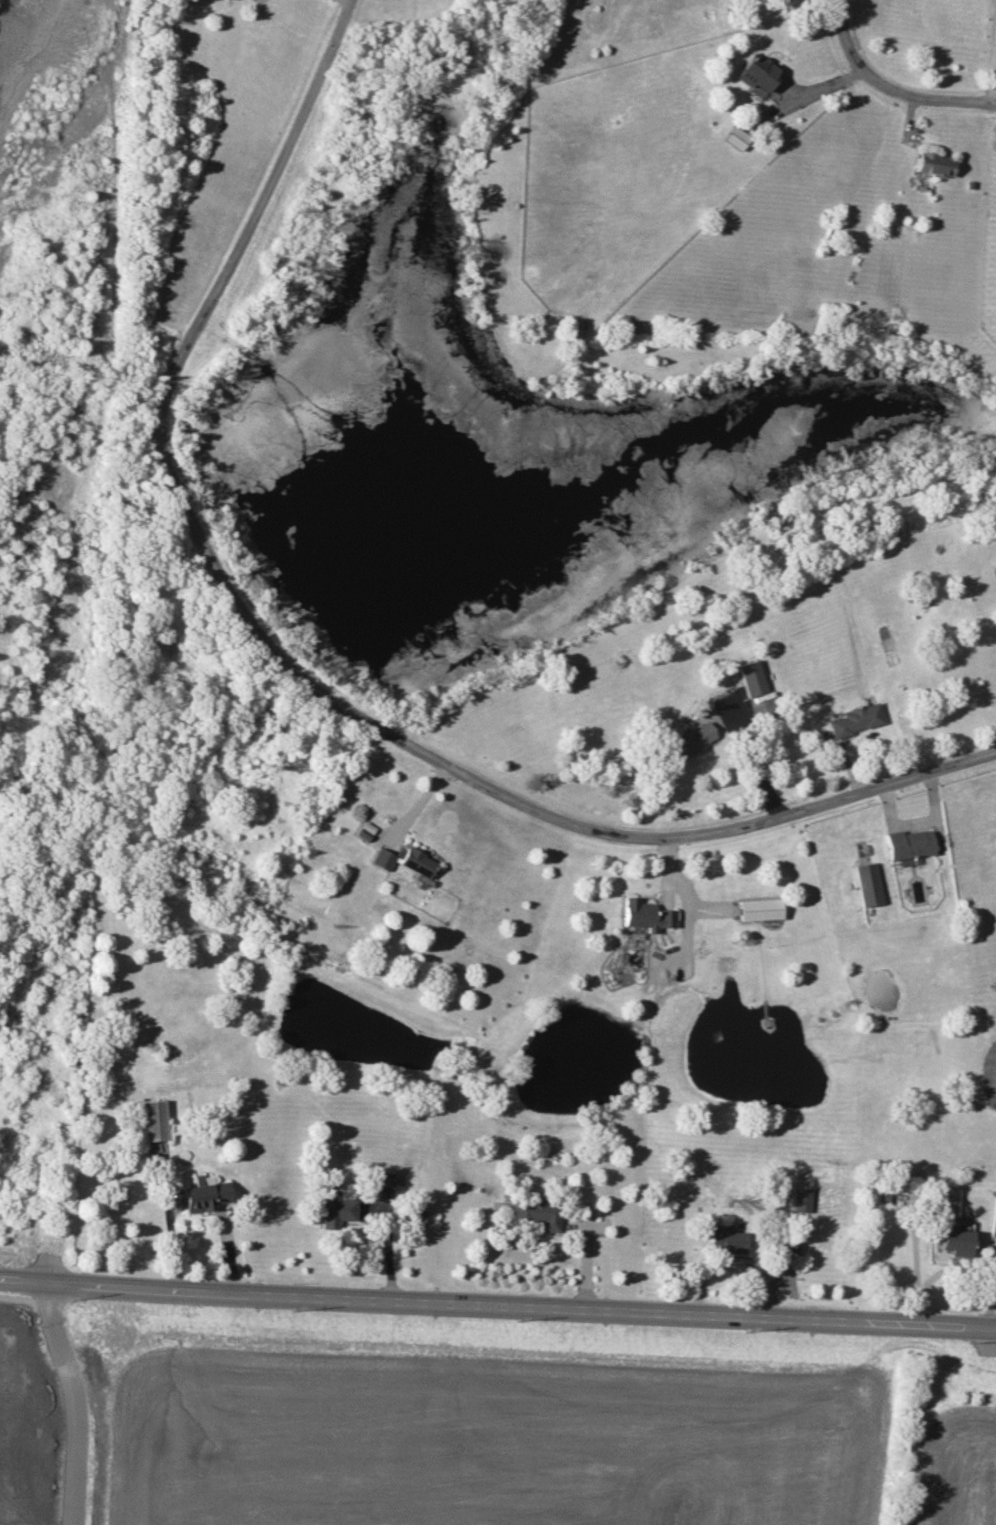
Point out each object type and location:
road: (349, 0)
road: (992, 65)
building: (757, 72)
road: (887, 91)
building: (736, 137)
building: (935, 163)
road: (262, 201)
building: (751, 677)
building: (763, 710)
building: (856, 719)
building: (687, 739)
road: (753, 760)
road: (482, 784)
building: (909, 843)
building: (384, 858)
building: (418, 861)
building: (868, 884)
building: (760, 909)
building: (647, 915)
building: (154, 1119)
building: (378, 1181)
building: (205, 1193)
building: (800, 1199)
building: (337, 1209)
building: (536, 1211)
road: (168, 1219)
building: (726, 1239)
building: (955, 1241)
building: (791, 1245)
road: (386, 1246)
road: (45, 1279)
road: (543, 1307)
road: (75, 1400)

